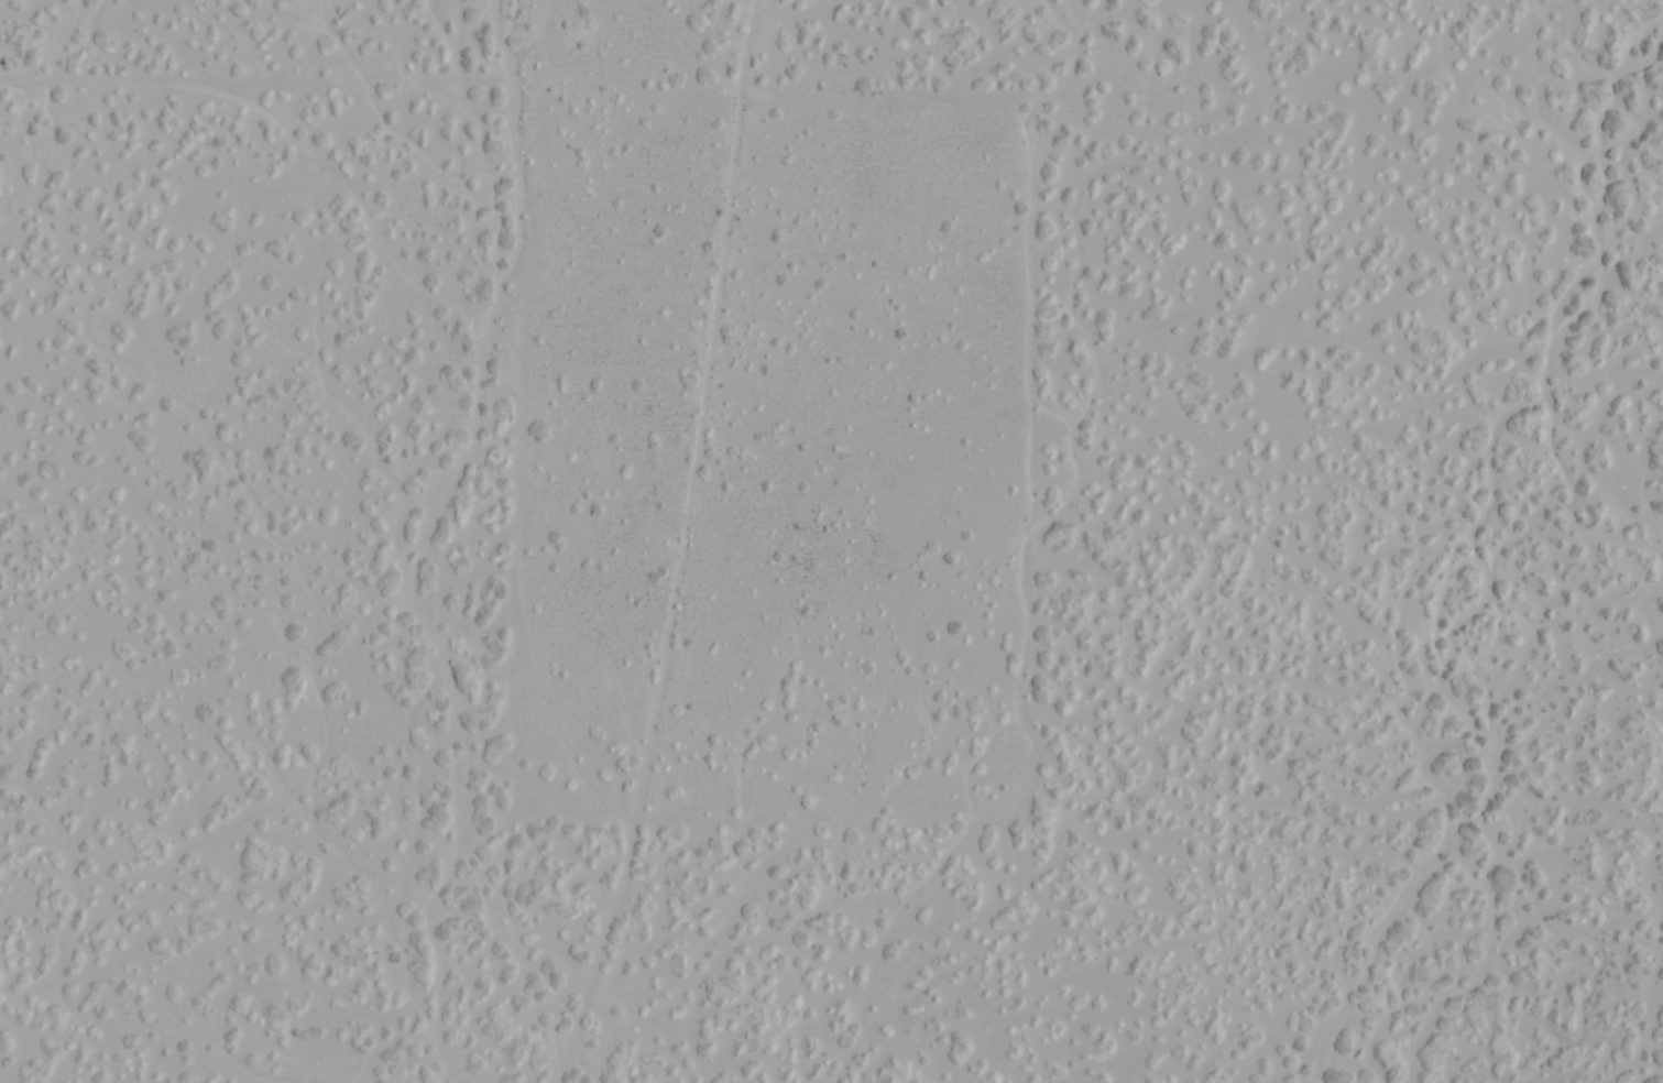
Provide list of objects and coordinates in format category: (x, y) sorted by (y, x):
road: (383, 72)
road: (288, 156)
road: (690, 546)

